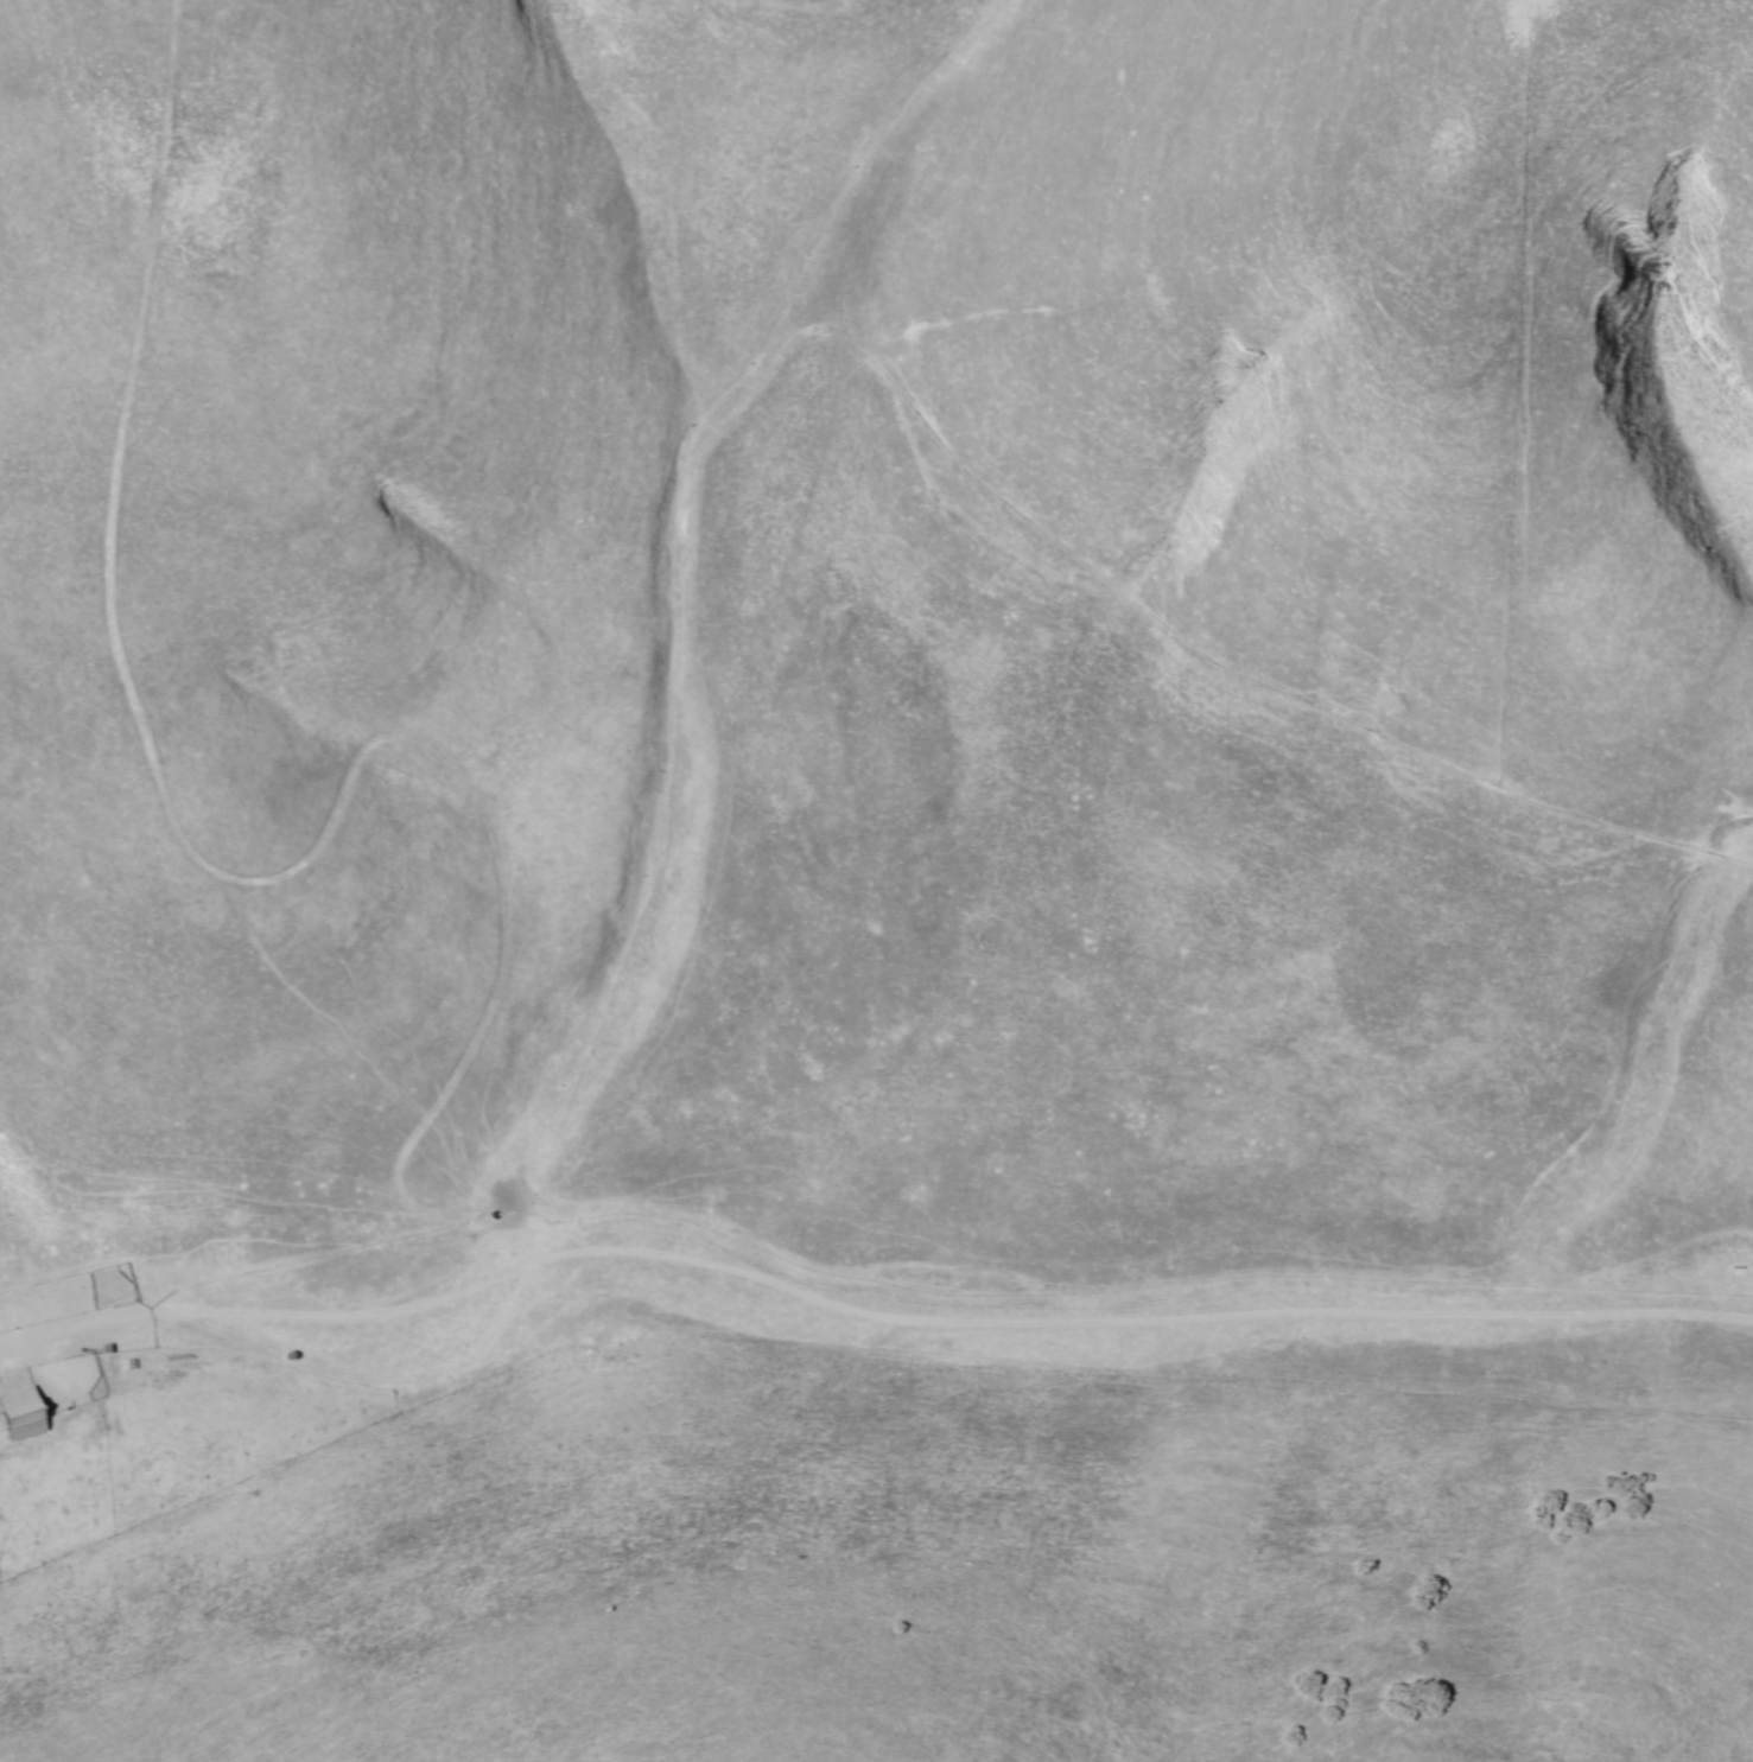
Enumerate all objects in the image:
road: (870, 1293)
building: (15, 1411)

